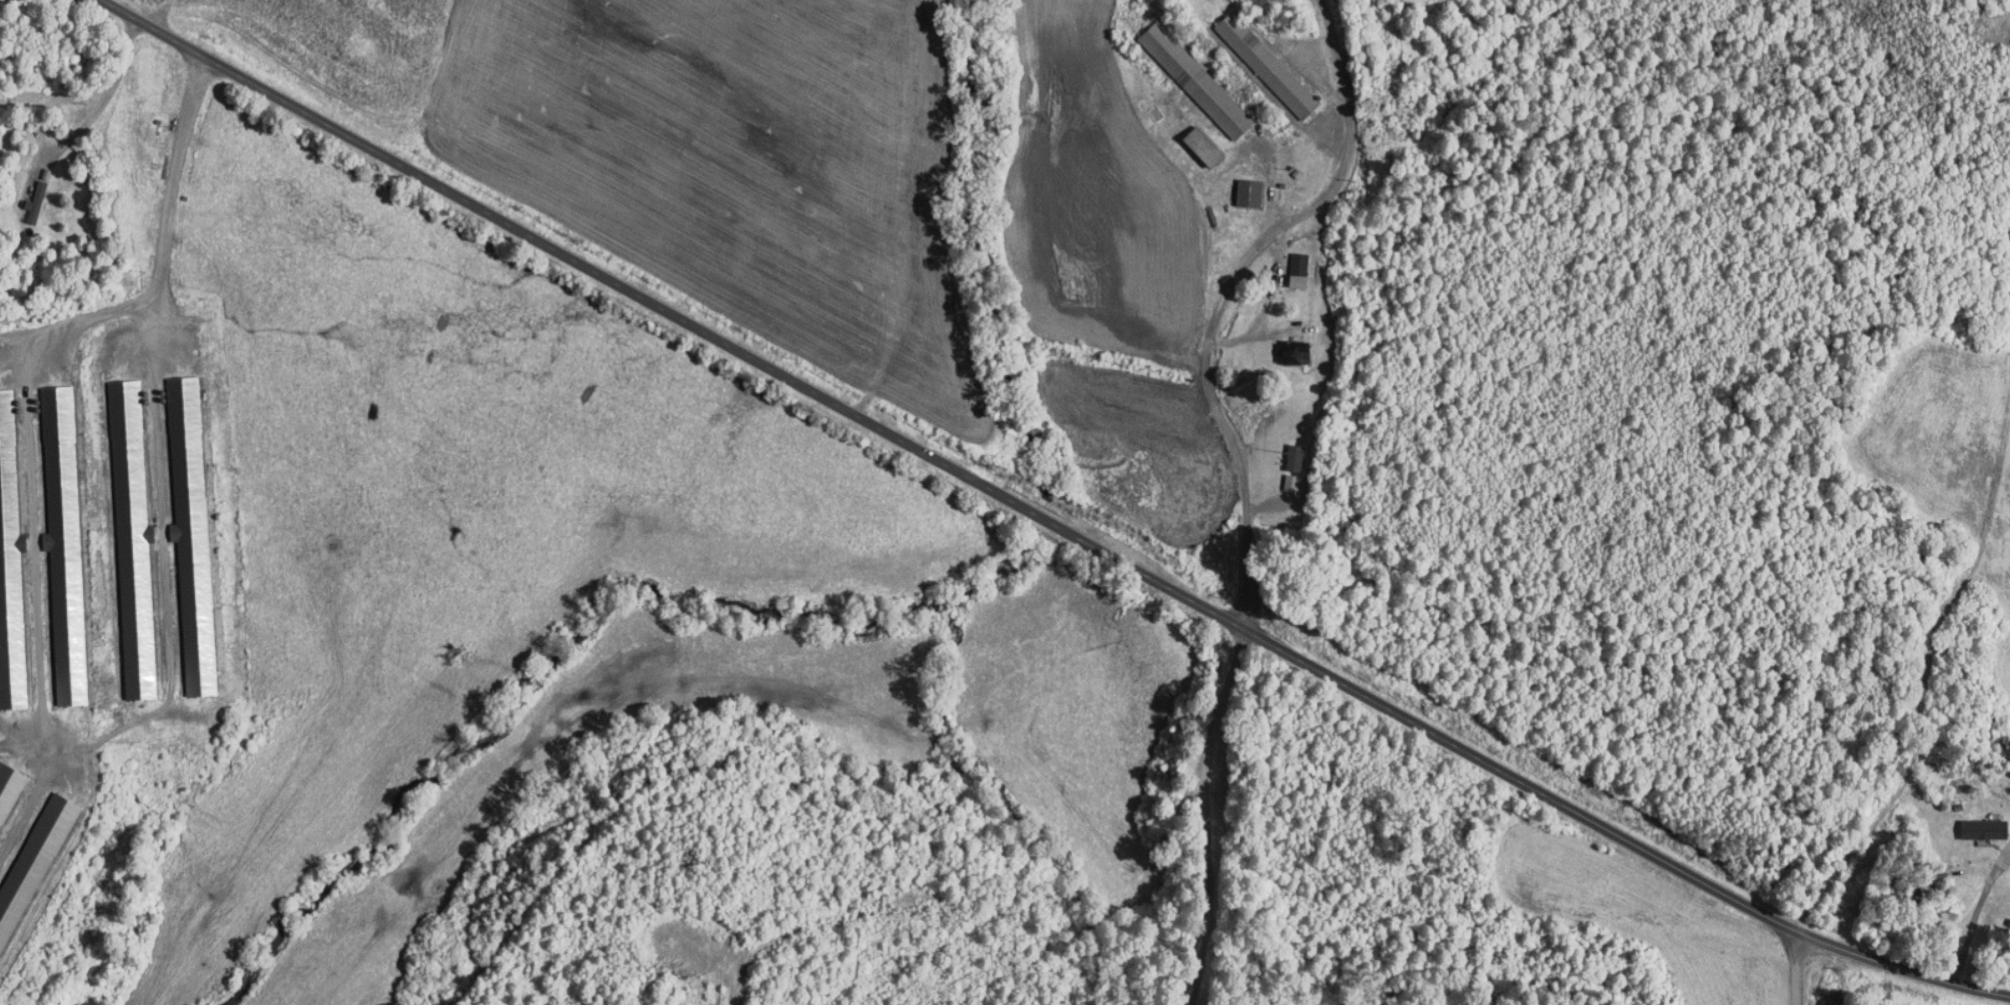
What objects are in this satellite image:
building: (1255, 58)
building: (1184, 73)
road: (96, 87)
road: (1350, 133)
building: (1190, 140)
road: (164, 177)
building: (1237, 187)
building: (23, 196)
building: (1286, 264)
road: (1218, 418)
building: (1283, 451)
road: (953, 463)
building: (1280, 476)
building: (179, 527)
building: (120, 534)
building: (51, 537)
building: (5, 593)
road: (1925, 674)
building: (4, 773)
road: (1206, 811)
building: (1971, 823)
building: (25, 842)
road: (1796, 968)
road: (1898, 971)

